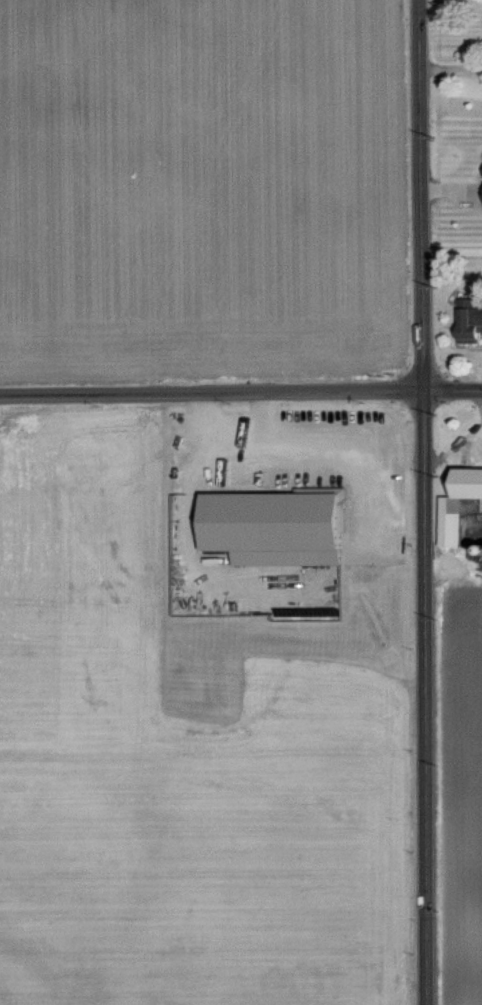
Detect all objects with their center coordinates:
crop: (198, 186)
road: (419, 195)
building: (469, 320)
road: (452, 391)
road: (211, 393)
road: (478, 399)
road: (233, 432)
building: (458, 504)
road: (422, 698)

